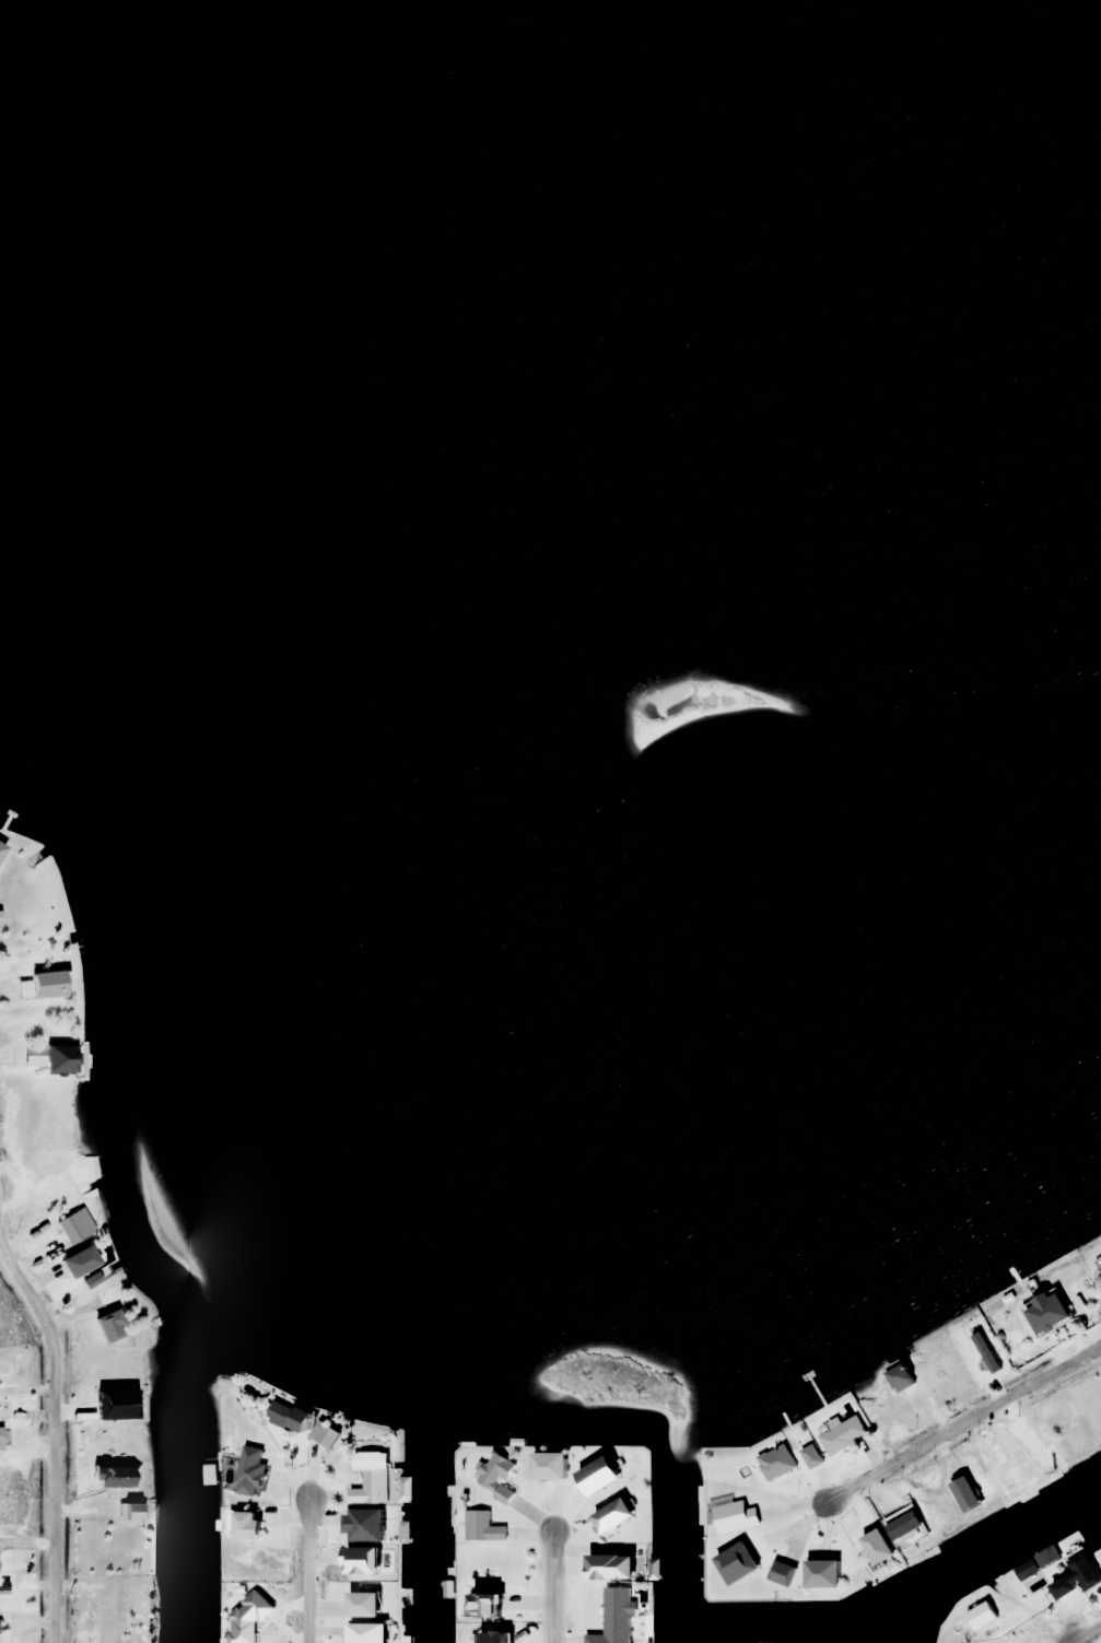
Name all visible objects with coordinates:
building: (0, 848)
building: (38, 986)
building: (48, 1059)
building: (63, 1182)
building: (46, 1254)
building: (75, 1261)
building: (1097, 1278)
building: (107, 1295)
building: (1043, 1313)
building: (104, 1326)
building: (898, 1377)
building: (286, 1417)
road: (960, 1420)
building: (323, 1435)
building: (842, 1435)
road: (50, 1436)
building: (1049, 1455)
building: (810, 1456)
building: (775, 1462)
building: (544, 1466)
building: (1011, 1476)
building: (495, 1477)
building: (370, 1478)
building: (963, 1494)
building: (127, 1512)
building: (733, 1516)
building: (243, 1525)
building: (902, 1525)
building: (480, 1527)
building: (874, 1546)
building: (733, 1563)
road: (305, 1569)
building: (1082, 1571)
building: (781, 1573)
building: (819, 1573)
road: (550, 1587)
building: (1062, 1588)
building: (139, 1600)
building: (360, 1604)
building: (480, 1605)
building: (613, 1617)
road: (1089, 1628)
building: (247, 1630)
building: (363, 1633)

